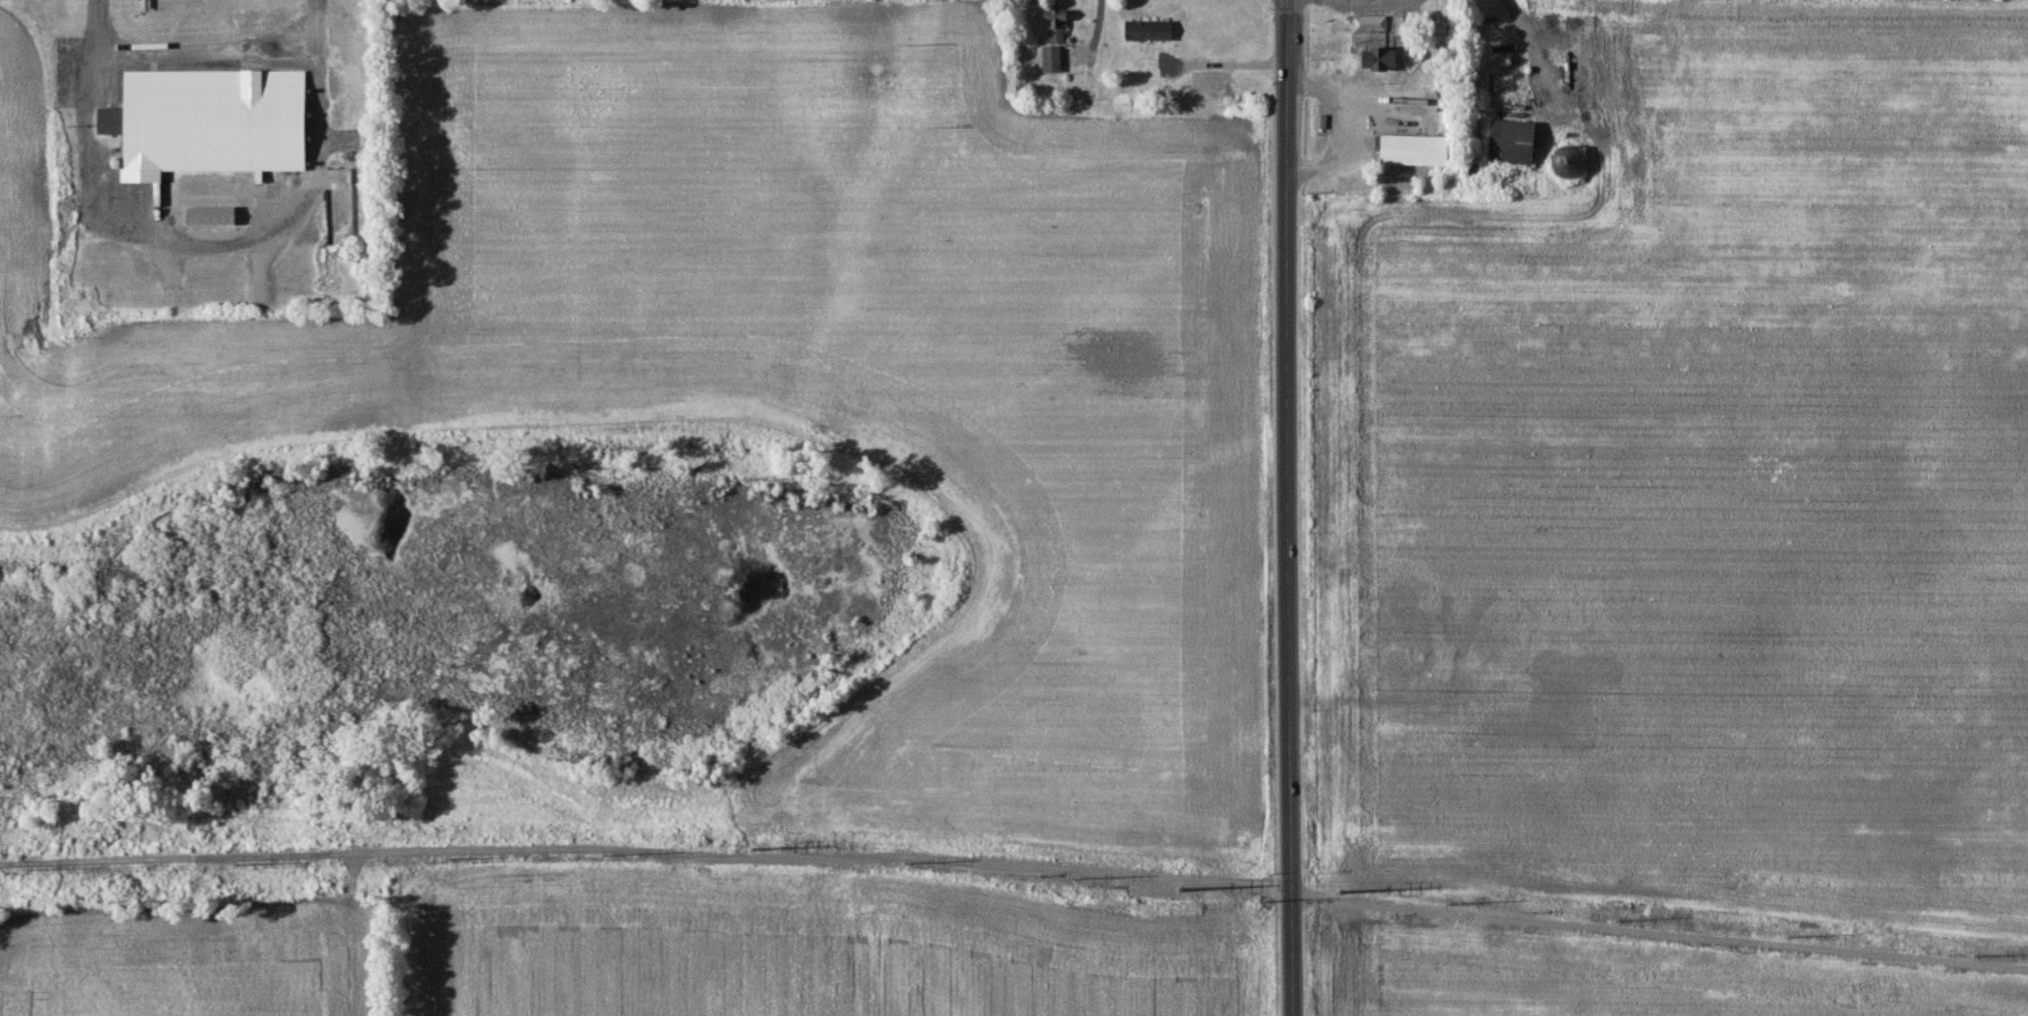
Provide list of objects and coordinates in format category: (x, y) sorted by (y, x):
building: (1055, 28)
building: (1149, 32)
road: (203, 47)
building: (1051, 61)
building: (1379, 61)
building: (1321, 122)
building: (207, 124)
building: (1511, 144)
building: (1413, 152)
building: (1474, 172)
building: (210, 218)
road: (1290, 508)

